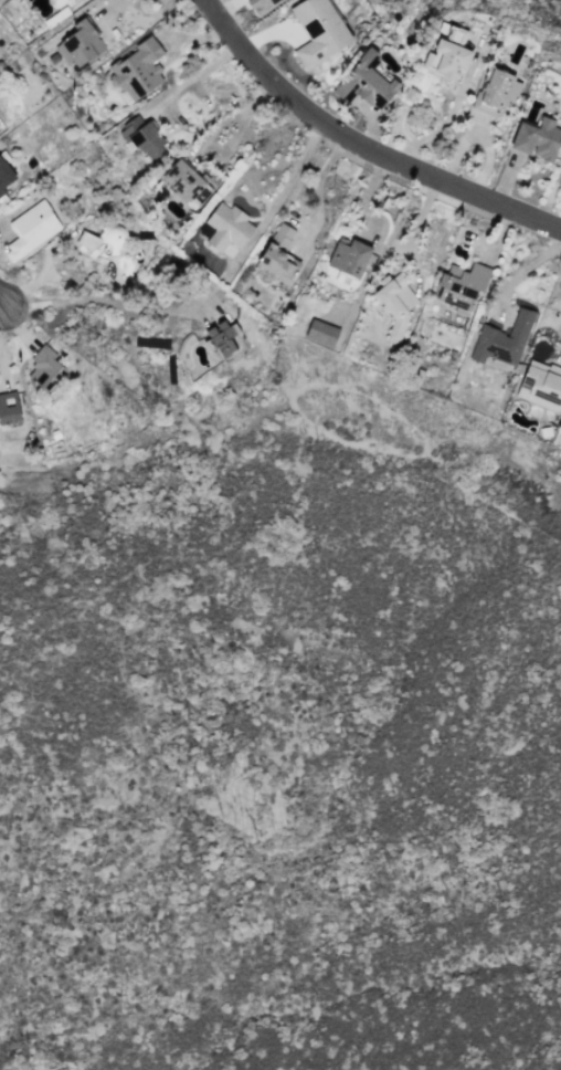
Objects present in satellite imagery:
building: (263, 4)
road: (121, 15)
building: (318, 31)
building: (81, 44)
building: (446, 52)
building: (137, 70)
road: (193, 78)
building: (367, 81)
building: (495, 92)
road: (239, 130)
building: (536, 138)
road: (359, 156)
building: (4, 176)
road: (288, 182)
building: (187, 183)
road: (317, 187)
building: (226, 227)
building: (30, 229)
building: (282, 231)
building: (86, 240)
building: (341, 256)
road: (521, 272)
building: (462, 285)
road: (99, 302)
road: (2, 305)
building: (394, 305)
building: (320, 333)
building: (502, 339)
building: (224, 340)
road: (560, 355)
building: (44, 368)
building: (540, 385)
building: (8, 408)

